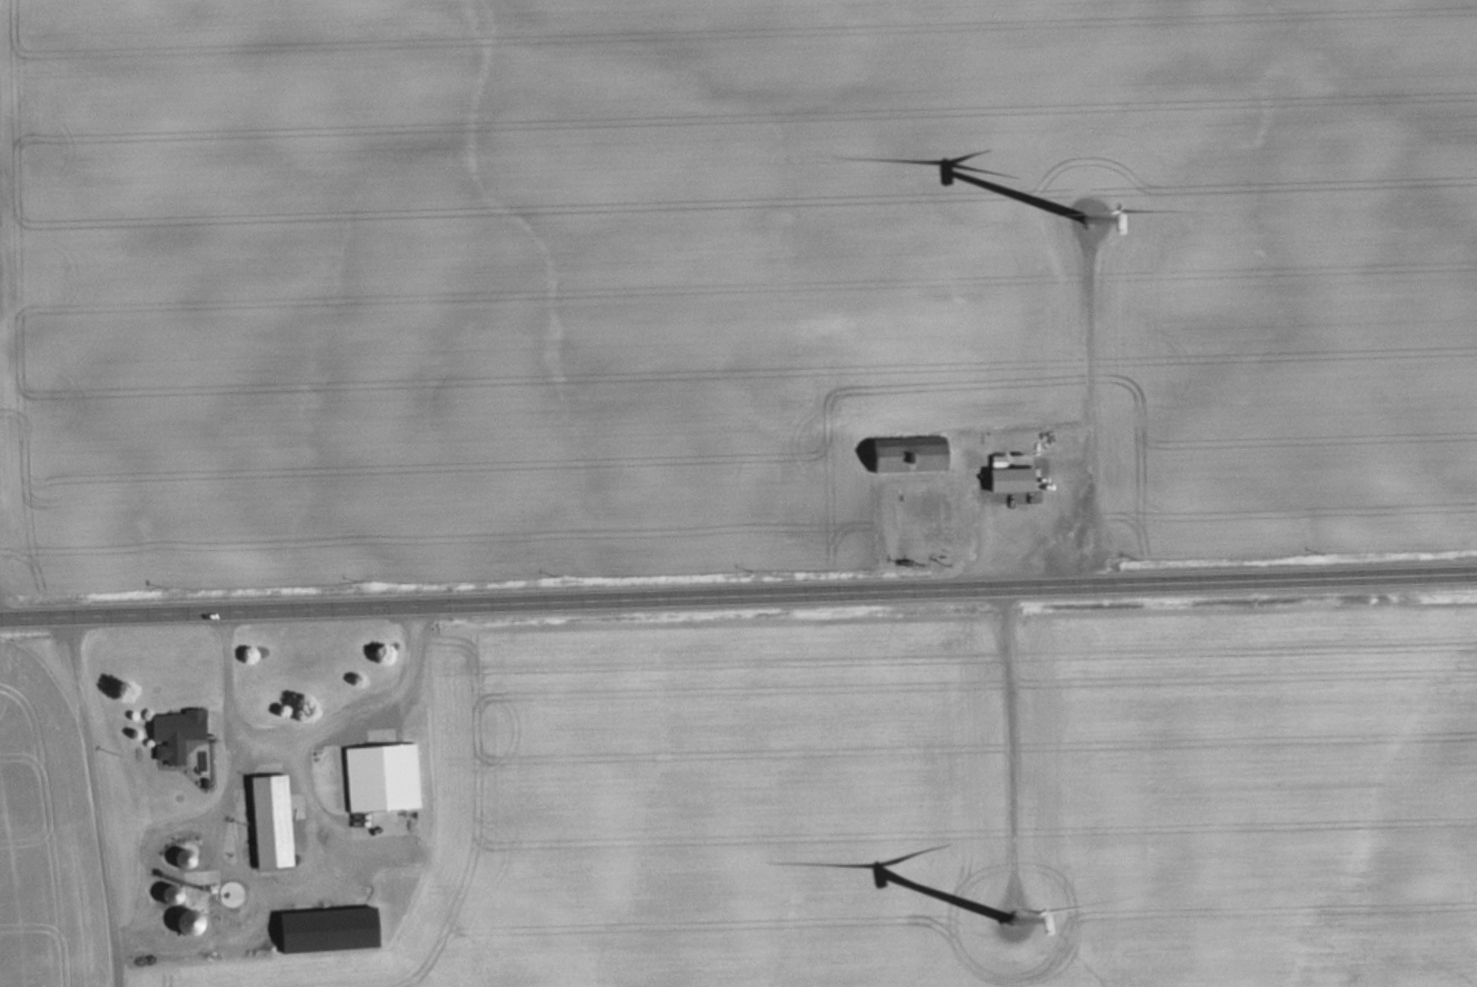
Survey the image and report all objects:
wind turbine: (1089, 217)
road: (1080, 411)
building: (912, 455)
building: (1015, 480)
building: (910, 510)
road: (738, 595)
road: (1003, 718)
building: (178, 735)
building: (385, 774)
road: (94, 800)
building: (275, 822)
building: (175, 895)
wind turbine: (1012, 917)
building: (196, 922)
building: (332, 930)

